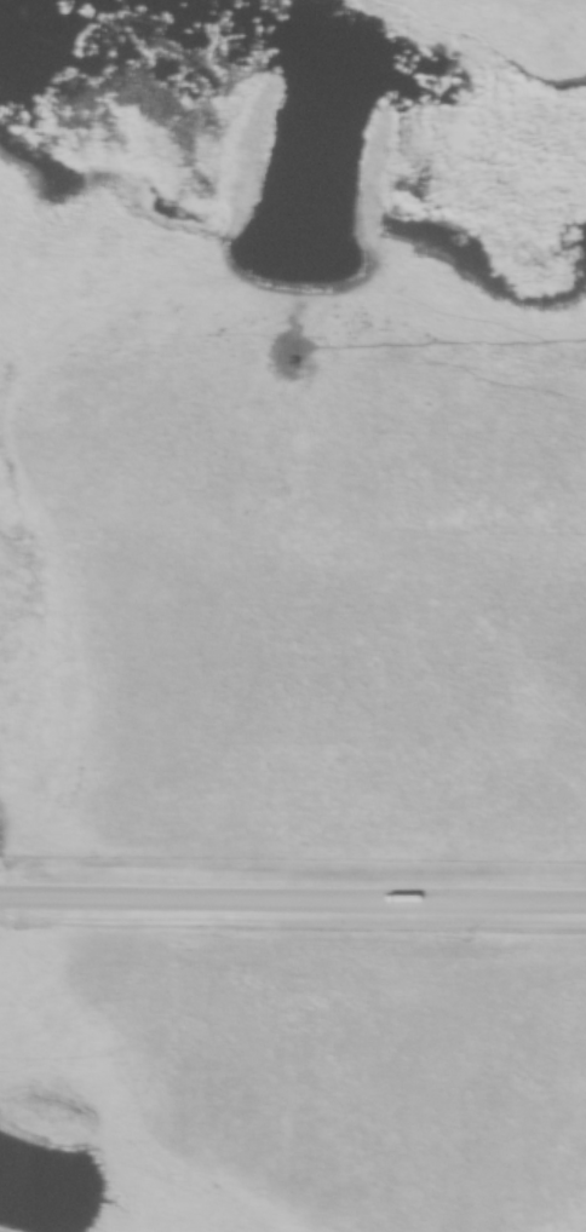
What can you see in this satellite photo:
road: (293, 897)

